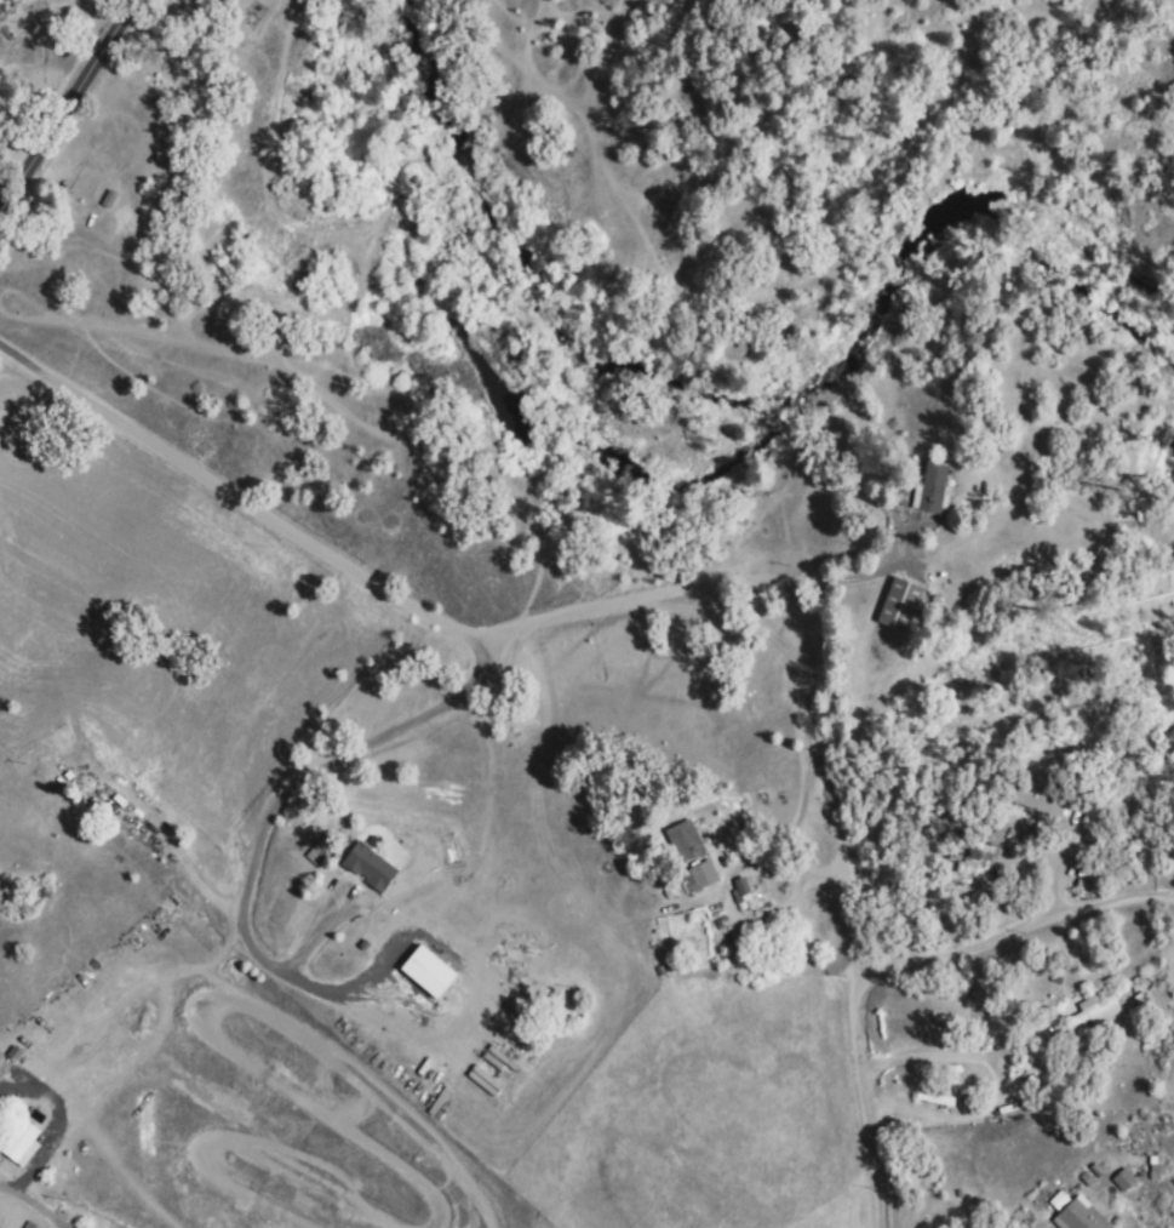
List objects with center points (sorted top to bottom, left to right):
road: (67, 104)
road: (42, 399)
building: (926, 487)
building: (897, 604)
road: (537, 621)
road: (791, 698)
road: (342, 767)
building: (1033, 800)
building: (682, 840)
building: (967, 862)
building: (373, 864)
building: (739, 887)
road: (196, 889)
road: (859, 924)
road: (1010, 926)
road: (1016, 969)
building: (434, 970)
building: (1092, 1011)
building: (17, 1051)
building: (1, 1055)
road: (855, 1063)
building: (933, 1096)
building: (24, 1144)
building: (1116, 1176)
road: (1052, 1189)
building: (1070, 1211)

